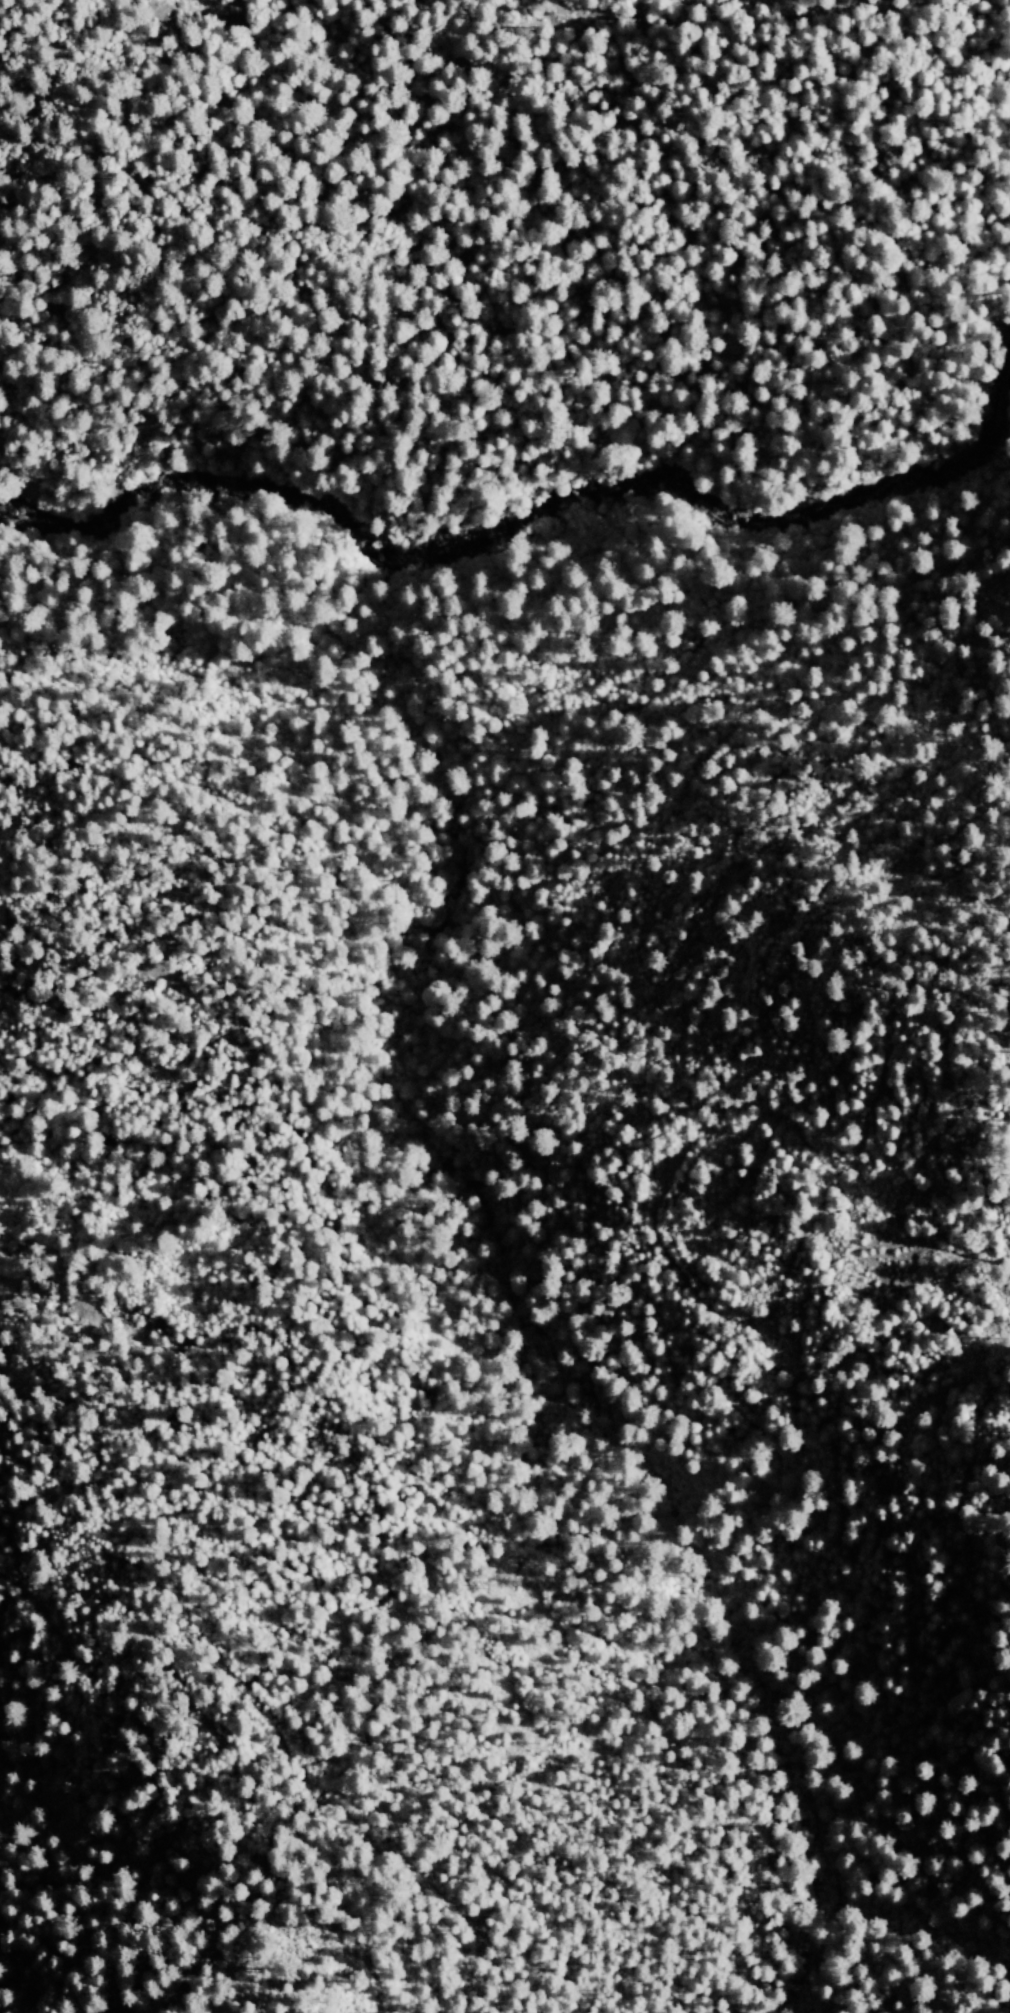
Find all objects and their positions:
river: (520, 512)

